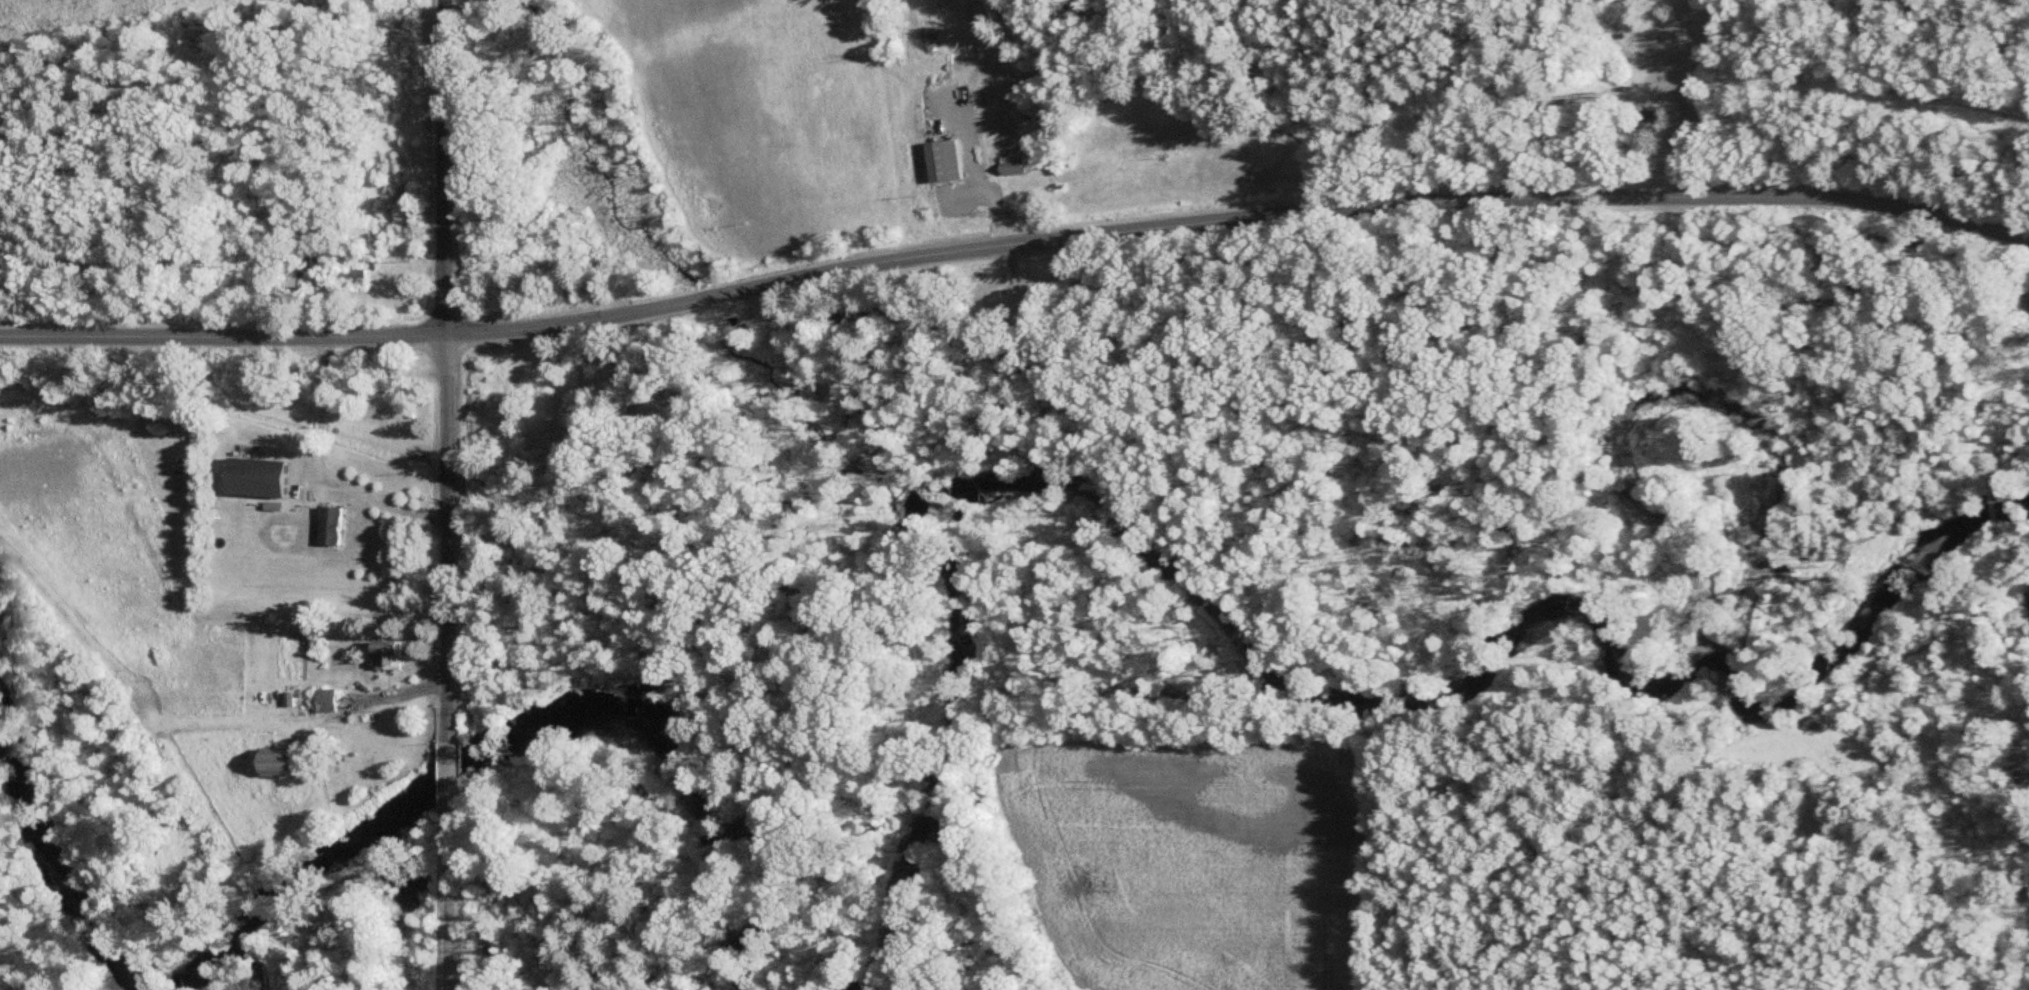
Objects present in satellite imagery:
building: (949, 161)
building: (1018, 167)
road: (1014, 245)
building: (319, 263)
building: (353, 273)
building: (304, 278)
building: (2027, 304)
road: (451, 357)
building: (267, 476)
building: (339, 524)
river: (1275, 645)
building: (397, 654)
building: (334, 700)
road: (448, 751)
building: (292, 762)
river: (399, 809)
road: (448, 888)

